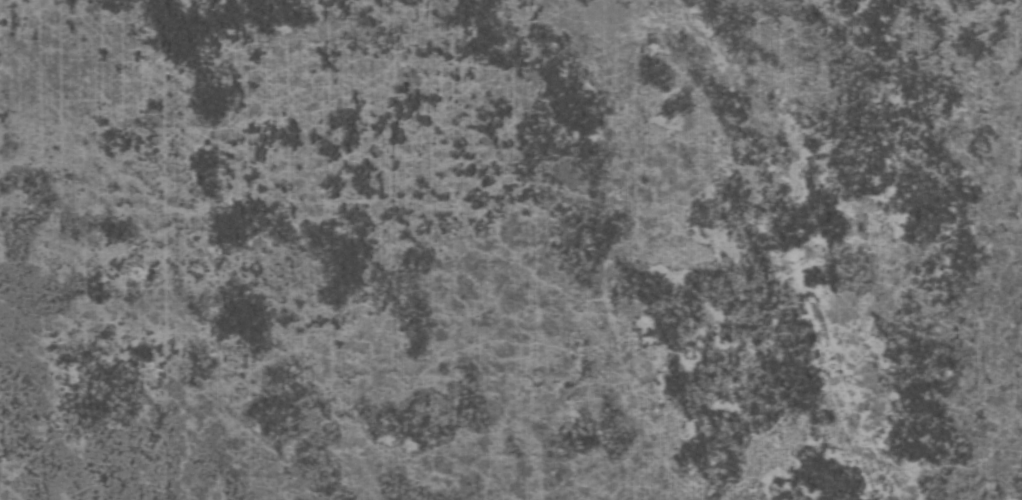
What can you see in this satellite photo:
crop: (511, 250)

